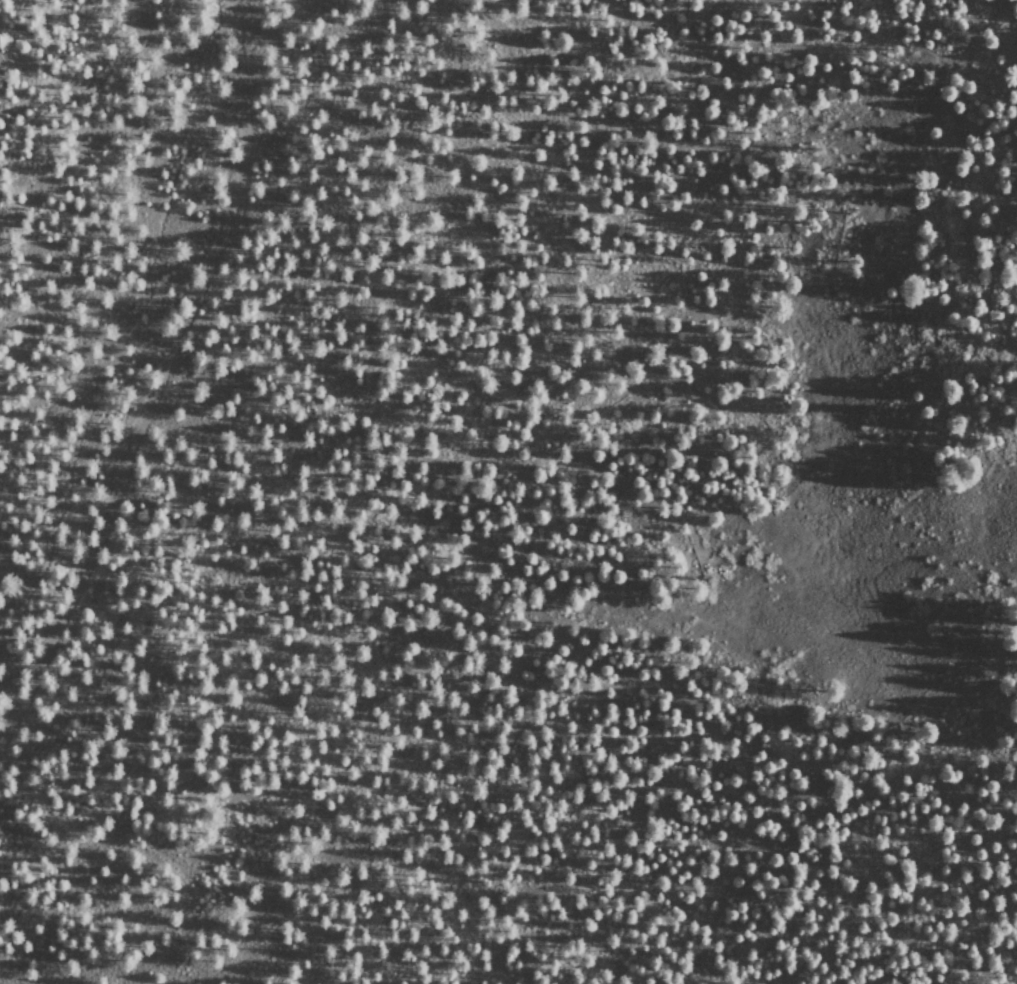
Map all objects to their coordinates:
road: (51, 91)
road: (158, 381)

